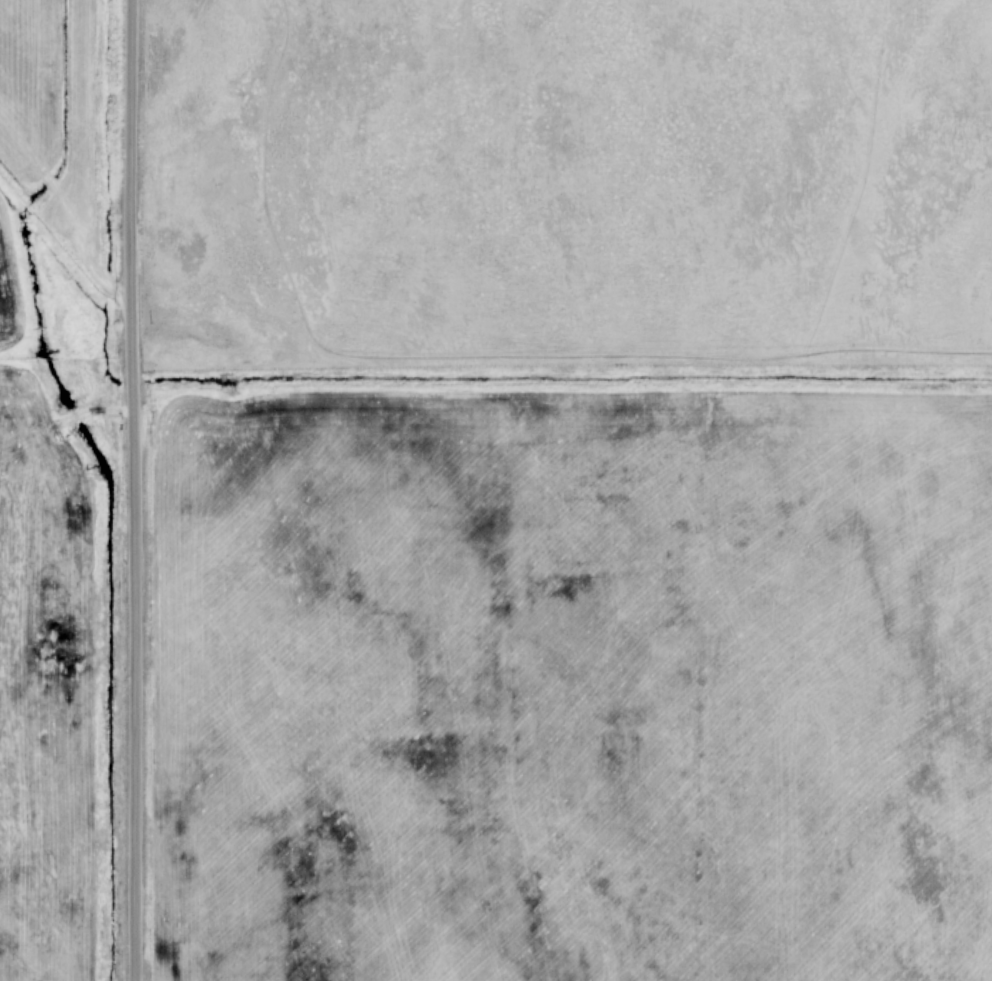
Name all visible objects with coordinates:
road: (151, 490)

